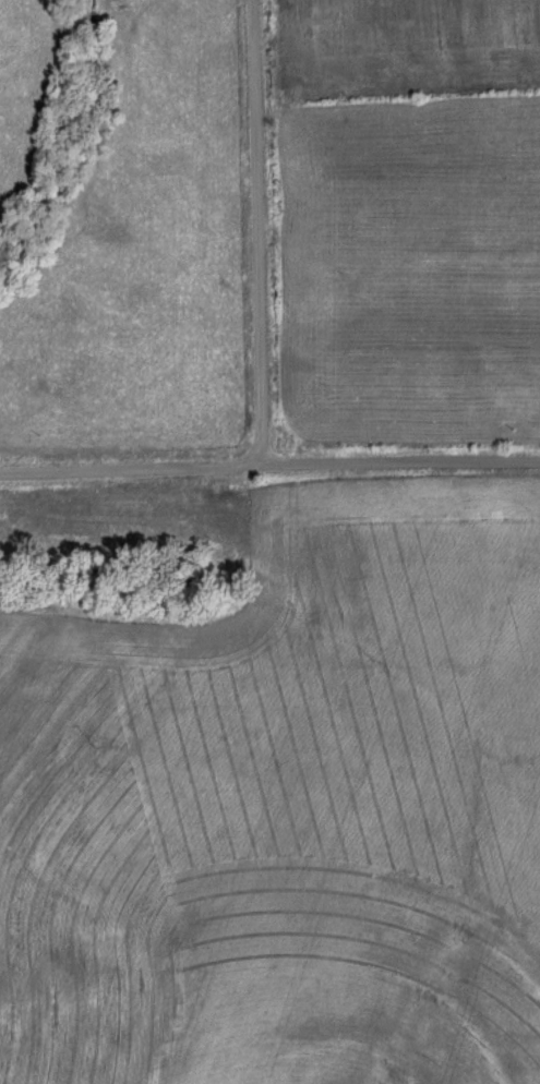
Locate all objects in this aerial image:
road: (249, 231)
road: (398, 462)
road: (128, 468)

